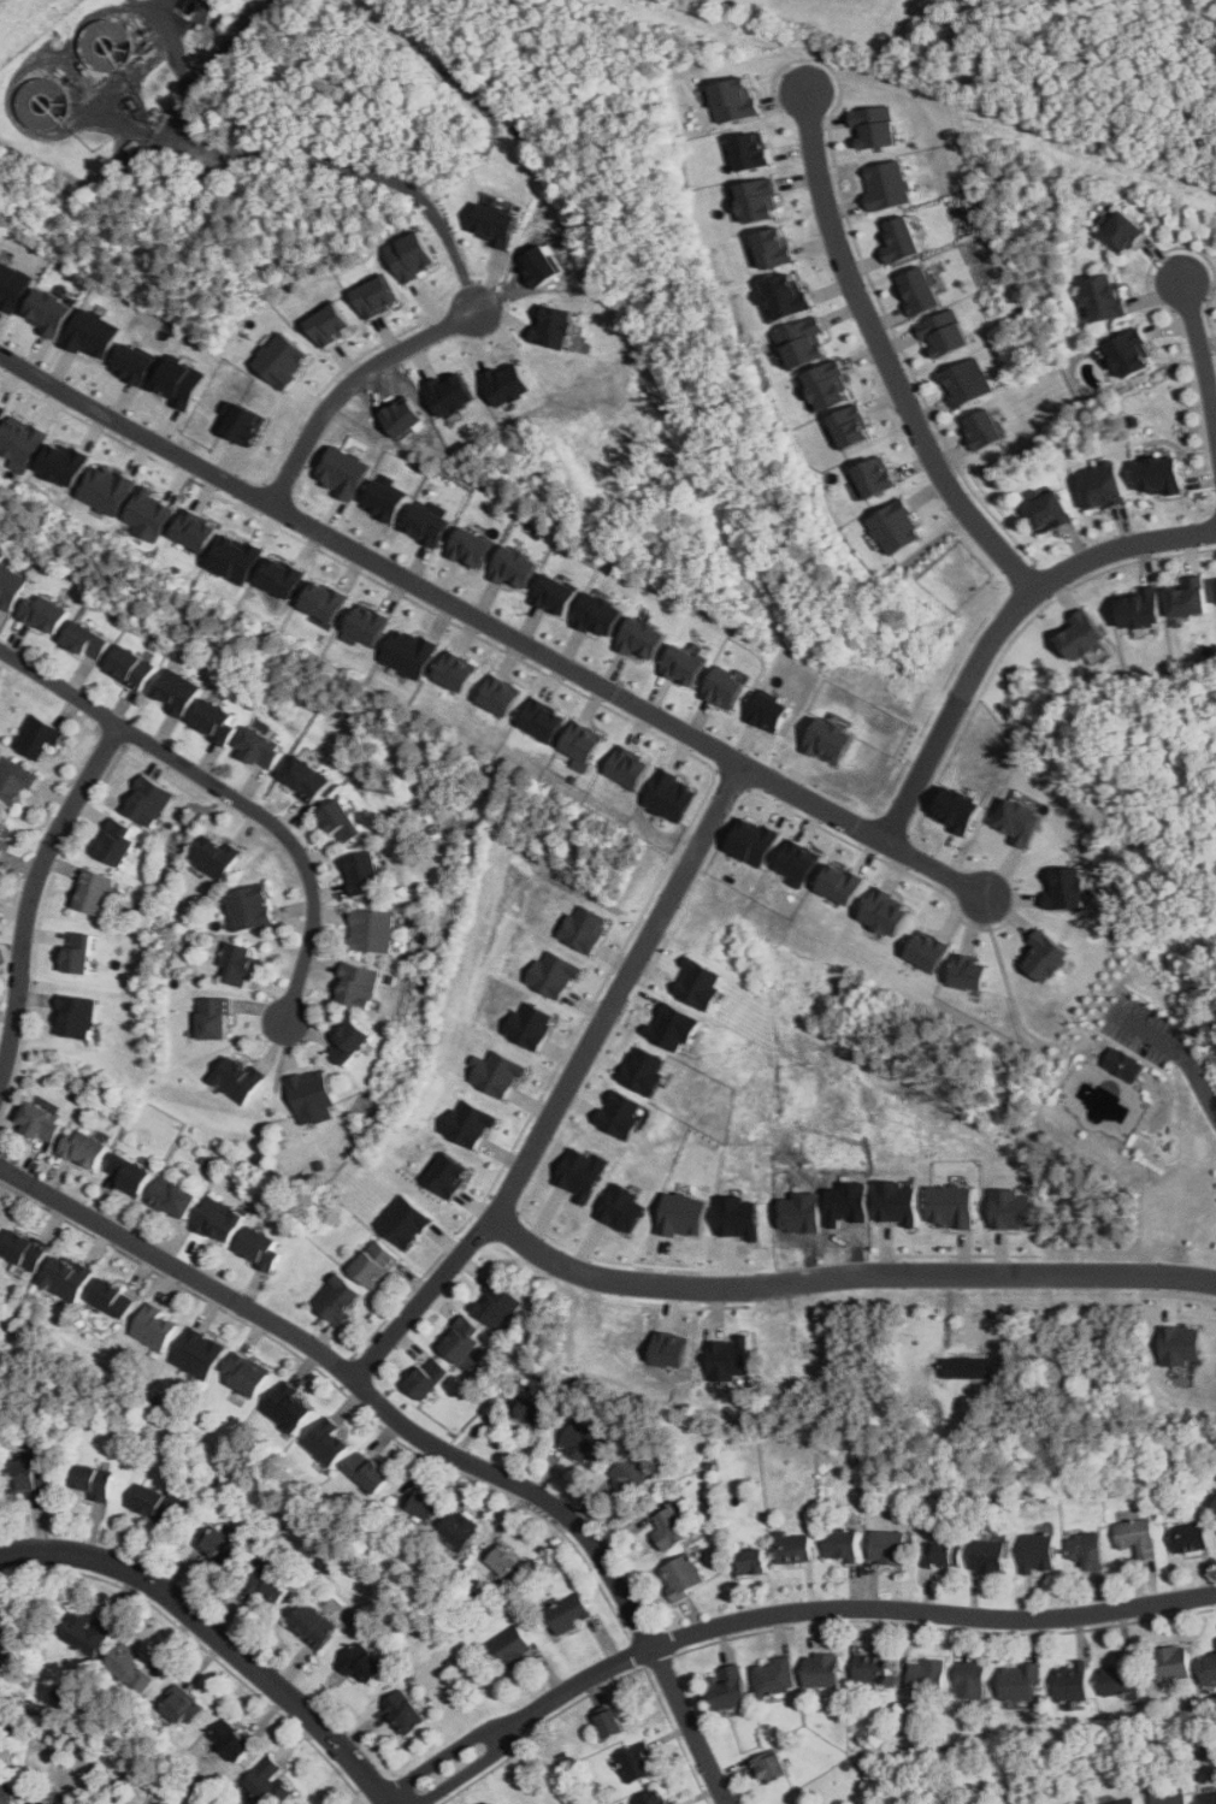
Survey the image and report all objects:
building: (734, 99)
building: (873, 125)
building: (752, 150)
road: (371, 172)
building: (885, 184)
building: (758, 200)
building: (496, 224)
building: (1123, 232)
building: (898, 239)
building: (774, 247)
building: (411, 255)
building: (12, 284)
building: (917, 291)
building: (376, 296)
building: (786, 296)
building: (1105, 296)
building: (49, 312)
building: (329, 323)
building: (554, 326)
building: (943, 332)
building: (94, 333)
building: (803, 342)
building: (1131, 353)
road: (1200, 355)
road: (884, 359)
building: (283, 360)
building: (135, 363)
building: (179, 381)
building: (967, 381)
road: (352, 383)
building: (507, 384)
building: (828, 384)
building: (450, 394)
building: (1, 410)
building: (244, 424)
building: (851, 426)
building: (985, 427)
building: (22, 442)
building: (64, 462)
building: (343, 472)
building: (1159, 474)
building: (875, 477)
building: (1103, 485)
building: (106, 490)
building: (385, 497)
building: (1051, 510)
building: (148, 513)
building: (429, 521)
building: (897, 527)
building: (195, 530)
building: (471, 546)
building: (236, 558)
building: (515, 567)
building: (282, 576)
building: (10, 586)
building: (556, 593)
building: (1190, 598)
building: (324, 601)
building: (1140, 607)
building: (45, 613)
building: (601, 614)
road: (494, 623)
building: (366, 626)
road: (1003, 629)
building: (1084, 637)
building: (644, 638)
building: (87, 640)
building: (409, 652)
building: (685, 664)
building: (130, 667)
building: (455, 670)
building: (726, 688)
building: (176, 691)
building: (498, 694)
building: (772, 711)
building: (217, 721)
building: (541, 721)
building: (39, 738)
building: (831, 740)
building: (579, 745)
building: (260, 747)
building: (627, 767)
building: (305, 777)
building: (14, 780)
road: (230, 791)
building: (671, 795)
building: (148, 800)
building: (957, 809)
building: (1021, 821)
building: (341, 822)
building: (2, 832)
building: (756, 840)
building: (116, 841)
building: (0, 848)
building: (216, 857)
building: (799, 862)
building: (364, 871)
building: (843, 883)
building: (1067, 888)
building: (93, 892)
road: (33, 894)
building: (249, 907)
building: (887, 912)
road: (41, 915)
building: (582, 927)
building: (371, 930)
building: (927, 950)
building: (78, 952)
building: (1045, 956)
building: (238, 964)
building: (969, 971)
building: (553, 974)
building: (698, 982)
building: (358, 986)
building: (76, 1017)
building: (214, 1018)
building: (527, 1024)
building: (674, 1025)
building: (349, 1042)
road: (1182, 1053)
building: (1123, 1063)
building: (644, 1070)
building: (497, 1072)
building: (238, 1078)
road: (565, 1082)
building: (311, 1092)
building: (622, 1113)
building: (40, 1120)
building: (470, 1123)
building: (84, 1147)
building: (583, 1171)
building: (130, 1172)
building: (449, 1175)
building: (173, 1196)
building: (896, 1201)
building: (954, 1205)
building: (622, 1207)
building: (1013, 1207)
building: (684, 1214)
building: (738, 1216)
building: (219, 1219)
building: (405, 1220)
building: (0, 1222)
building: (260, 1247)
building: (24, 1249)
building: (374, 1262)
building: (66, 1276)
road: (843, 1277)
building: (113, 1297)
building: (340, 1299)
road: (399, 1303)
building: (498, 1303)
building: (155, 1326)
building: (464, 1339)
building: (805, 1344)
building: (1180, 1344)
building: (669, 1349)
building: (199, 1354)
building: (728, 1361)
building: (967, 1368)
road: (348, 1373)
building: (247, 1374)
building: (429, 1377)
road: (338, 1386)
building: (289, 1407)
building: (530, 1409)
road: (421, 1433)
building: (580, 1439)
building: (329, 1442)
building: (370, 1471)
building: (631, 1475)
building: (25, 1478)
building: (94, 1480)
building: (158, 1503)
building: (421, 1503)
building: (672, 1528)
building: (460, 1531)
building: (1138, 1537)
building: (1191, 1537)
building: (842, 1543)
building: (218, 1545)
building: (889, 1546)
building: (793, 1548)
building: (1087, 1550)
building: (1039, 1554)
building: (945, 1555)
building: (988, 1556)
building: (502, 1558)
building: (752, 1561)
building: (684, 1577)
building: (271, 1584)
road: (846, 1608)
building: (569, 1614)
building: (314, 1623)
road: (946, 1625)
building: (7, 1632)
building: (85, 1632)
road: (218, 1634)
building: (1215, 1640)
road: (203, 1645)
building: (513, 1646)
building: (362, 1662)
building: (1174, 1662)
road: (648, 1667)
building: (874, 1668)
building: (1209, 1668)
building: (131, 1669)
building: (824, 1670)
building: (929, 1675)
building: (777, 1676)
building: (1122, 1676)
building: (973, 1679)
building: (1021, 1681)
building: (1073, 1682)
road: (598, 1684)
building: (728, 1688)
building: (183, 1708)
building: (405, 1710)
building: (612, 1723)
building: (232, 1740)
road: (443, 1762)
building: (637, 1762)
building: (772, 1765)
road: (468, 1770)
building: (268, 1782)
building: (6, 1793)
building: (1168, 1797)
building: (654, 1798)
building: (1211, 1798)
building: (1126, 1802)
building: (36, 1803)
building: (309, 1803)
building: (496, 1803)
building: (1085, 1803)

